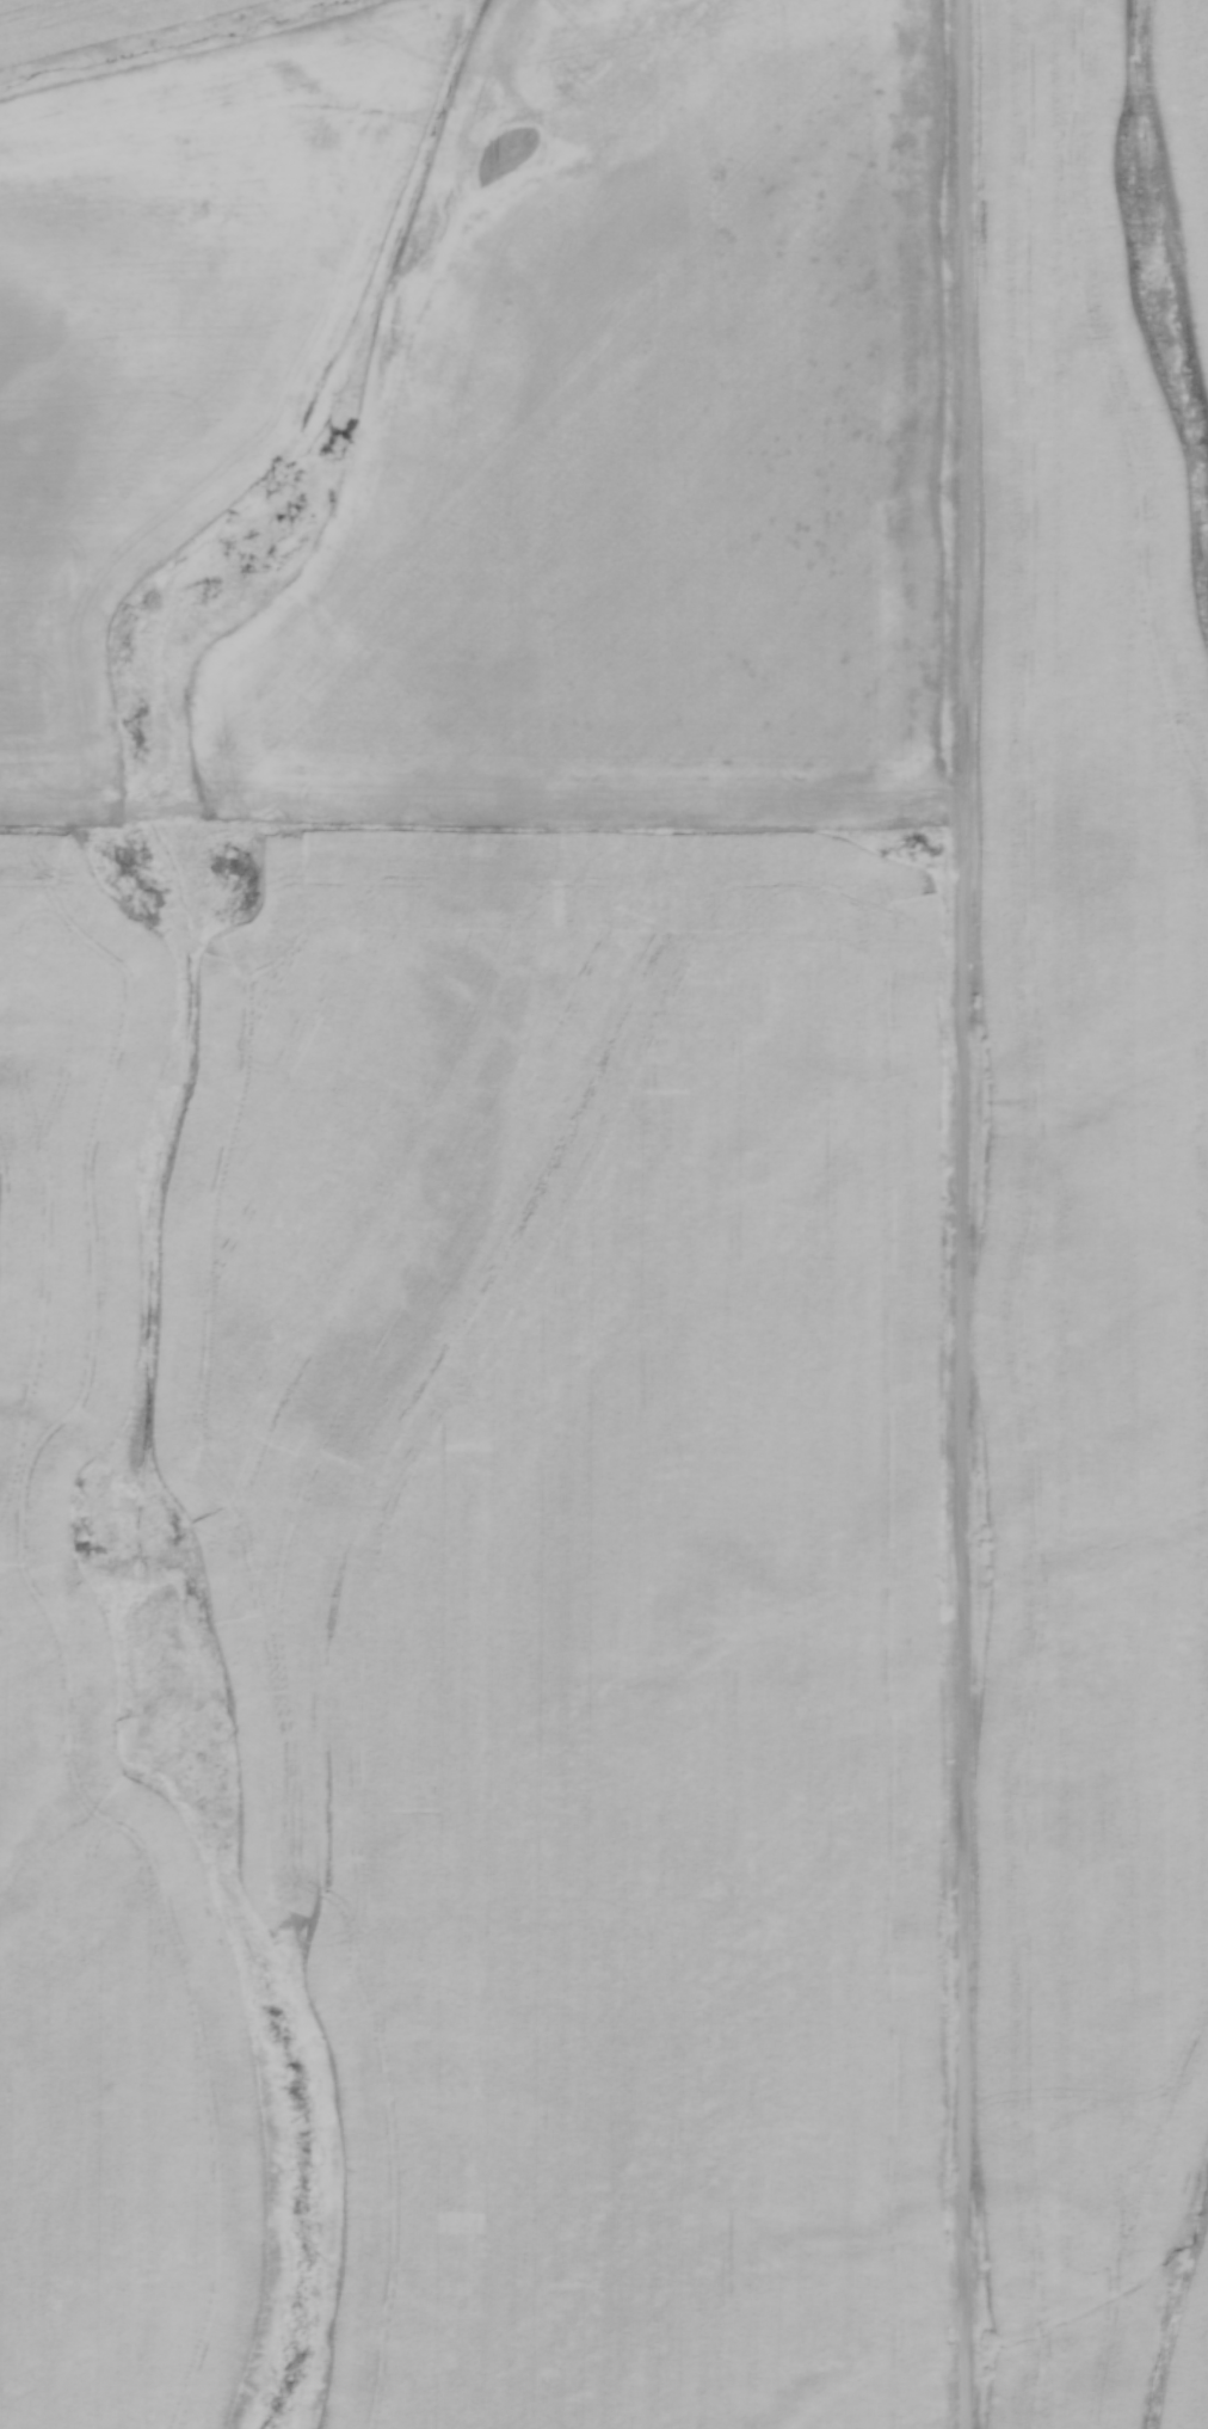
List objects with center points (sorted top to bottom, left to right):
road: (964, 1214)

